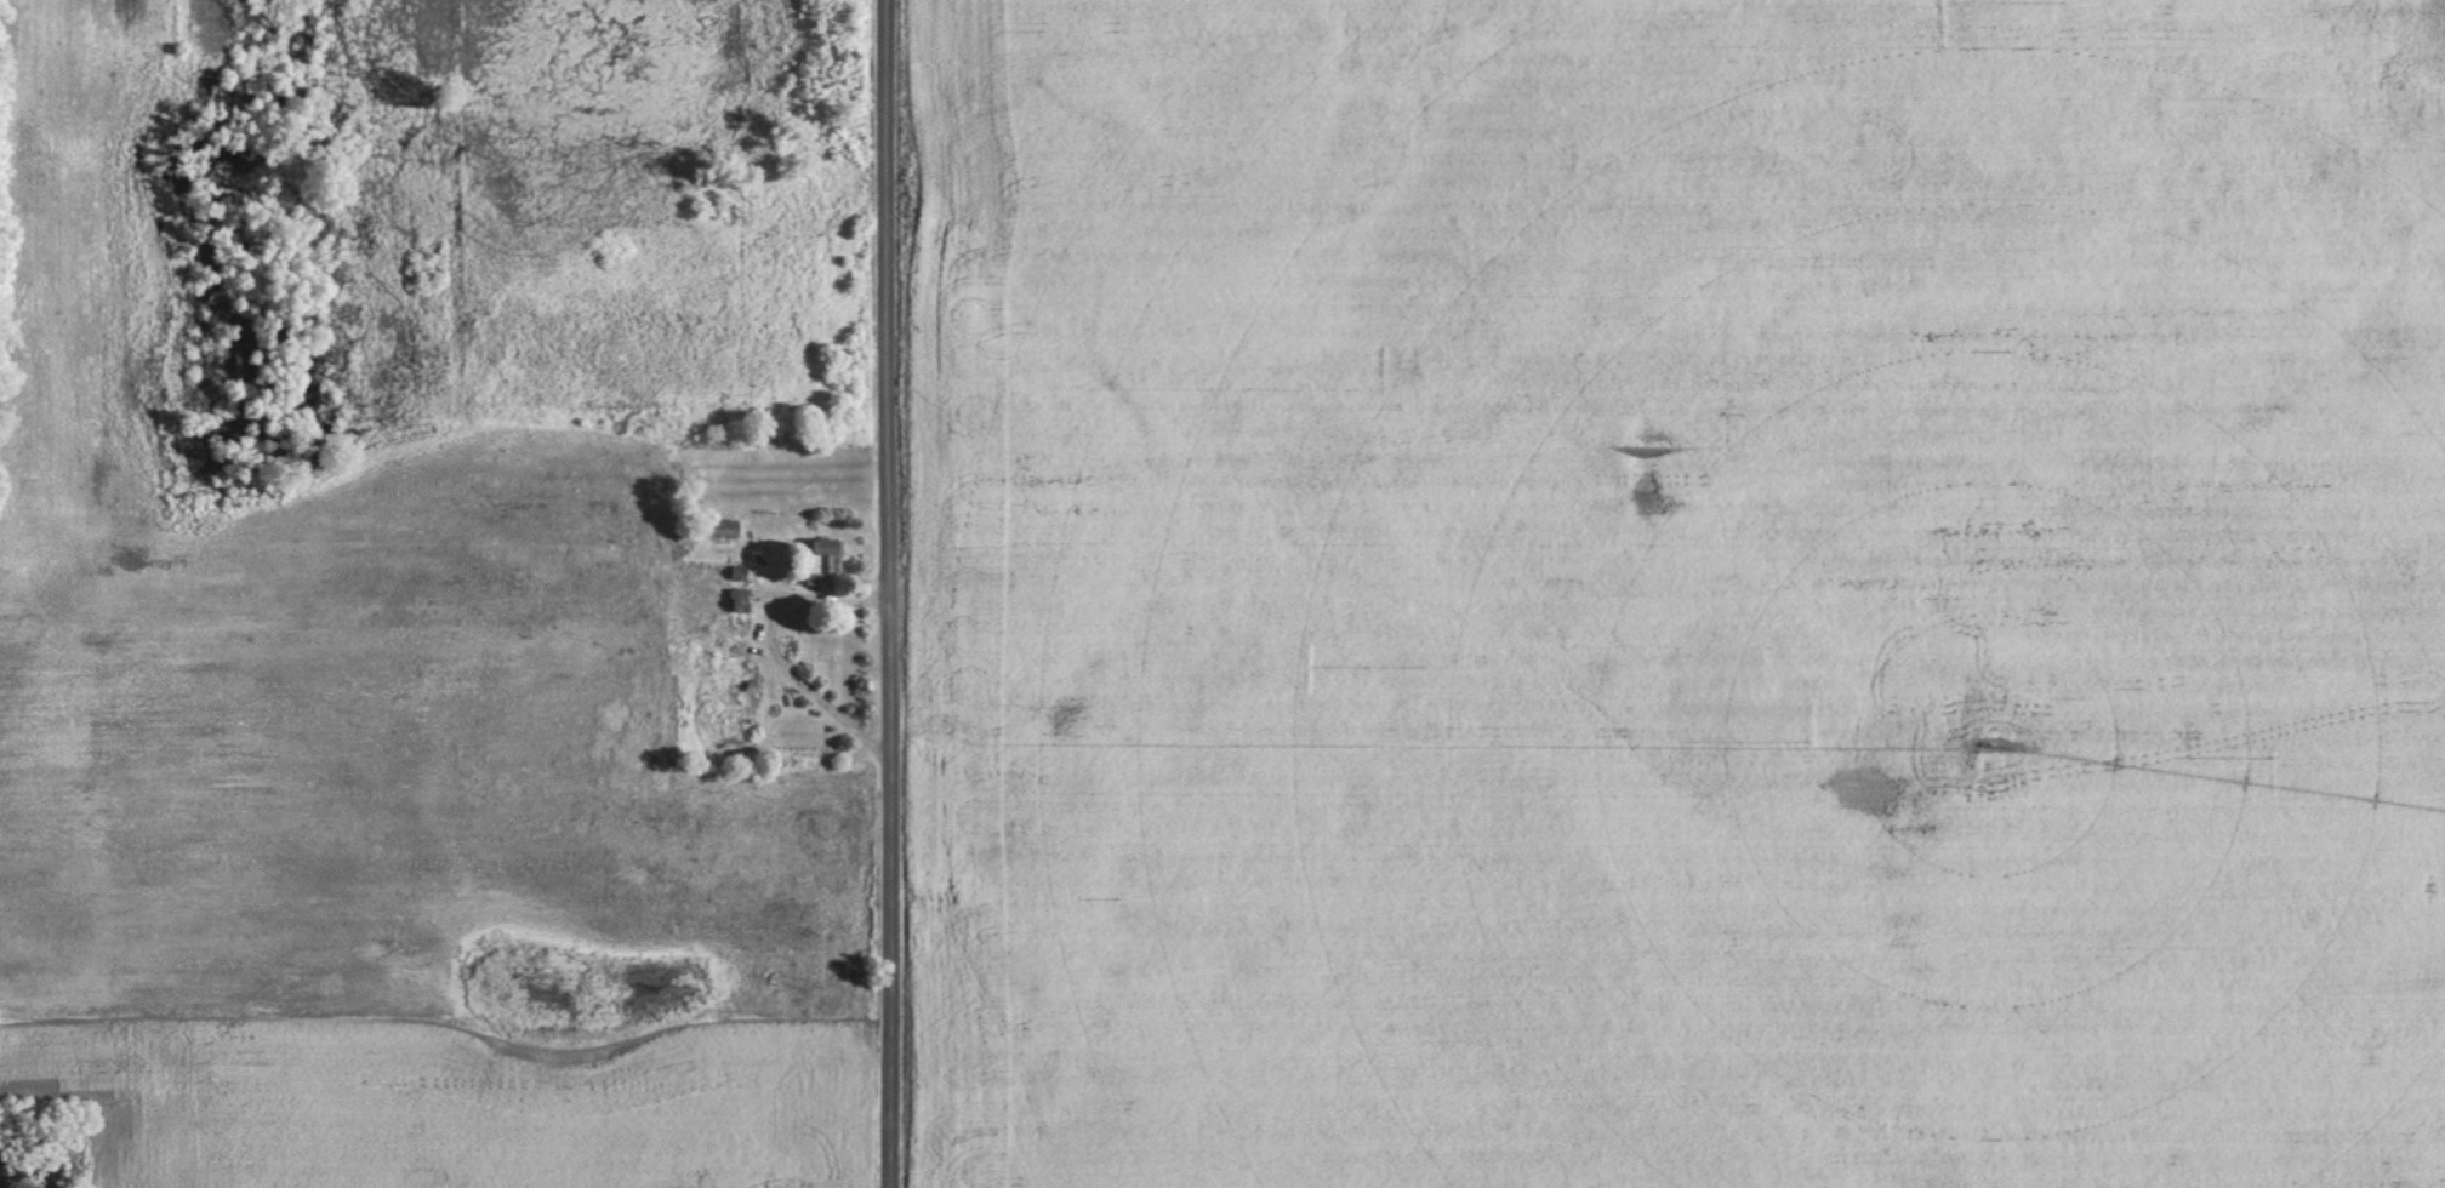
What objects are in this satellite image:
building: (717, 529)
building: (819, 559)
road: (895, 593)
road: (769, 646)

